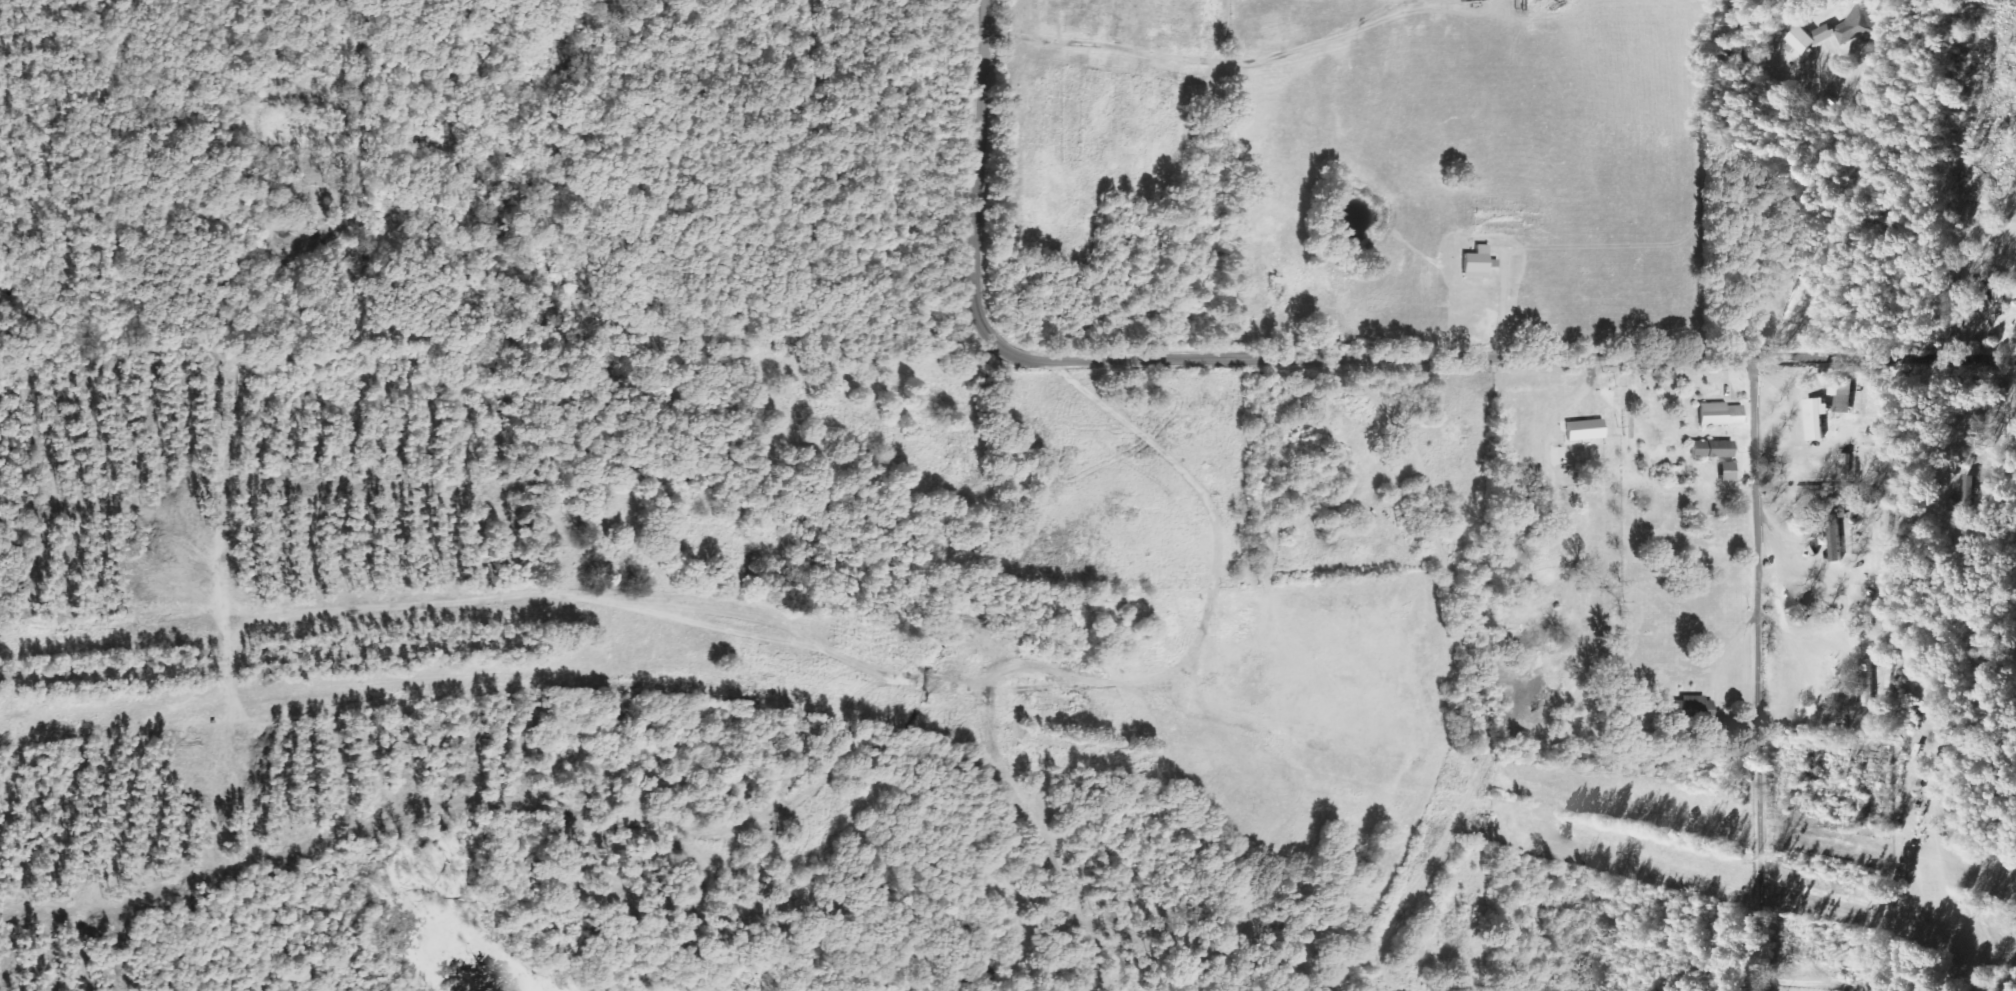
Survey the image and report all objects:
building: (1850, 24)
building: (1797, 40)
road: (982, 153)
road: (1833, 218)
building: (1475, 261)
building: (1995, 286)
road: (1483, 354)
building: (1839, 396)
building: (1719, 414)
building: (1814, 417)
building: (1583, 430)
building: (1711, 449)
building: (1844, 463)
building: (1726, 471)
road: (1757, 624)
building: (1867, 682)
building: (1690, 710)

